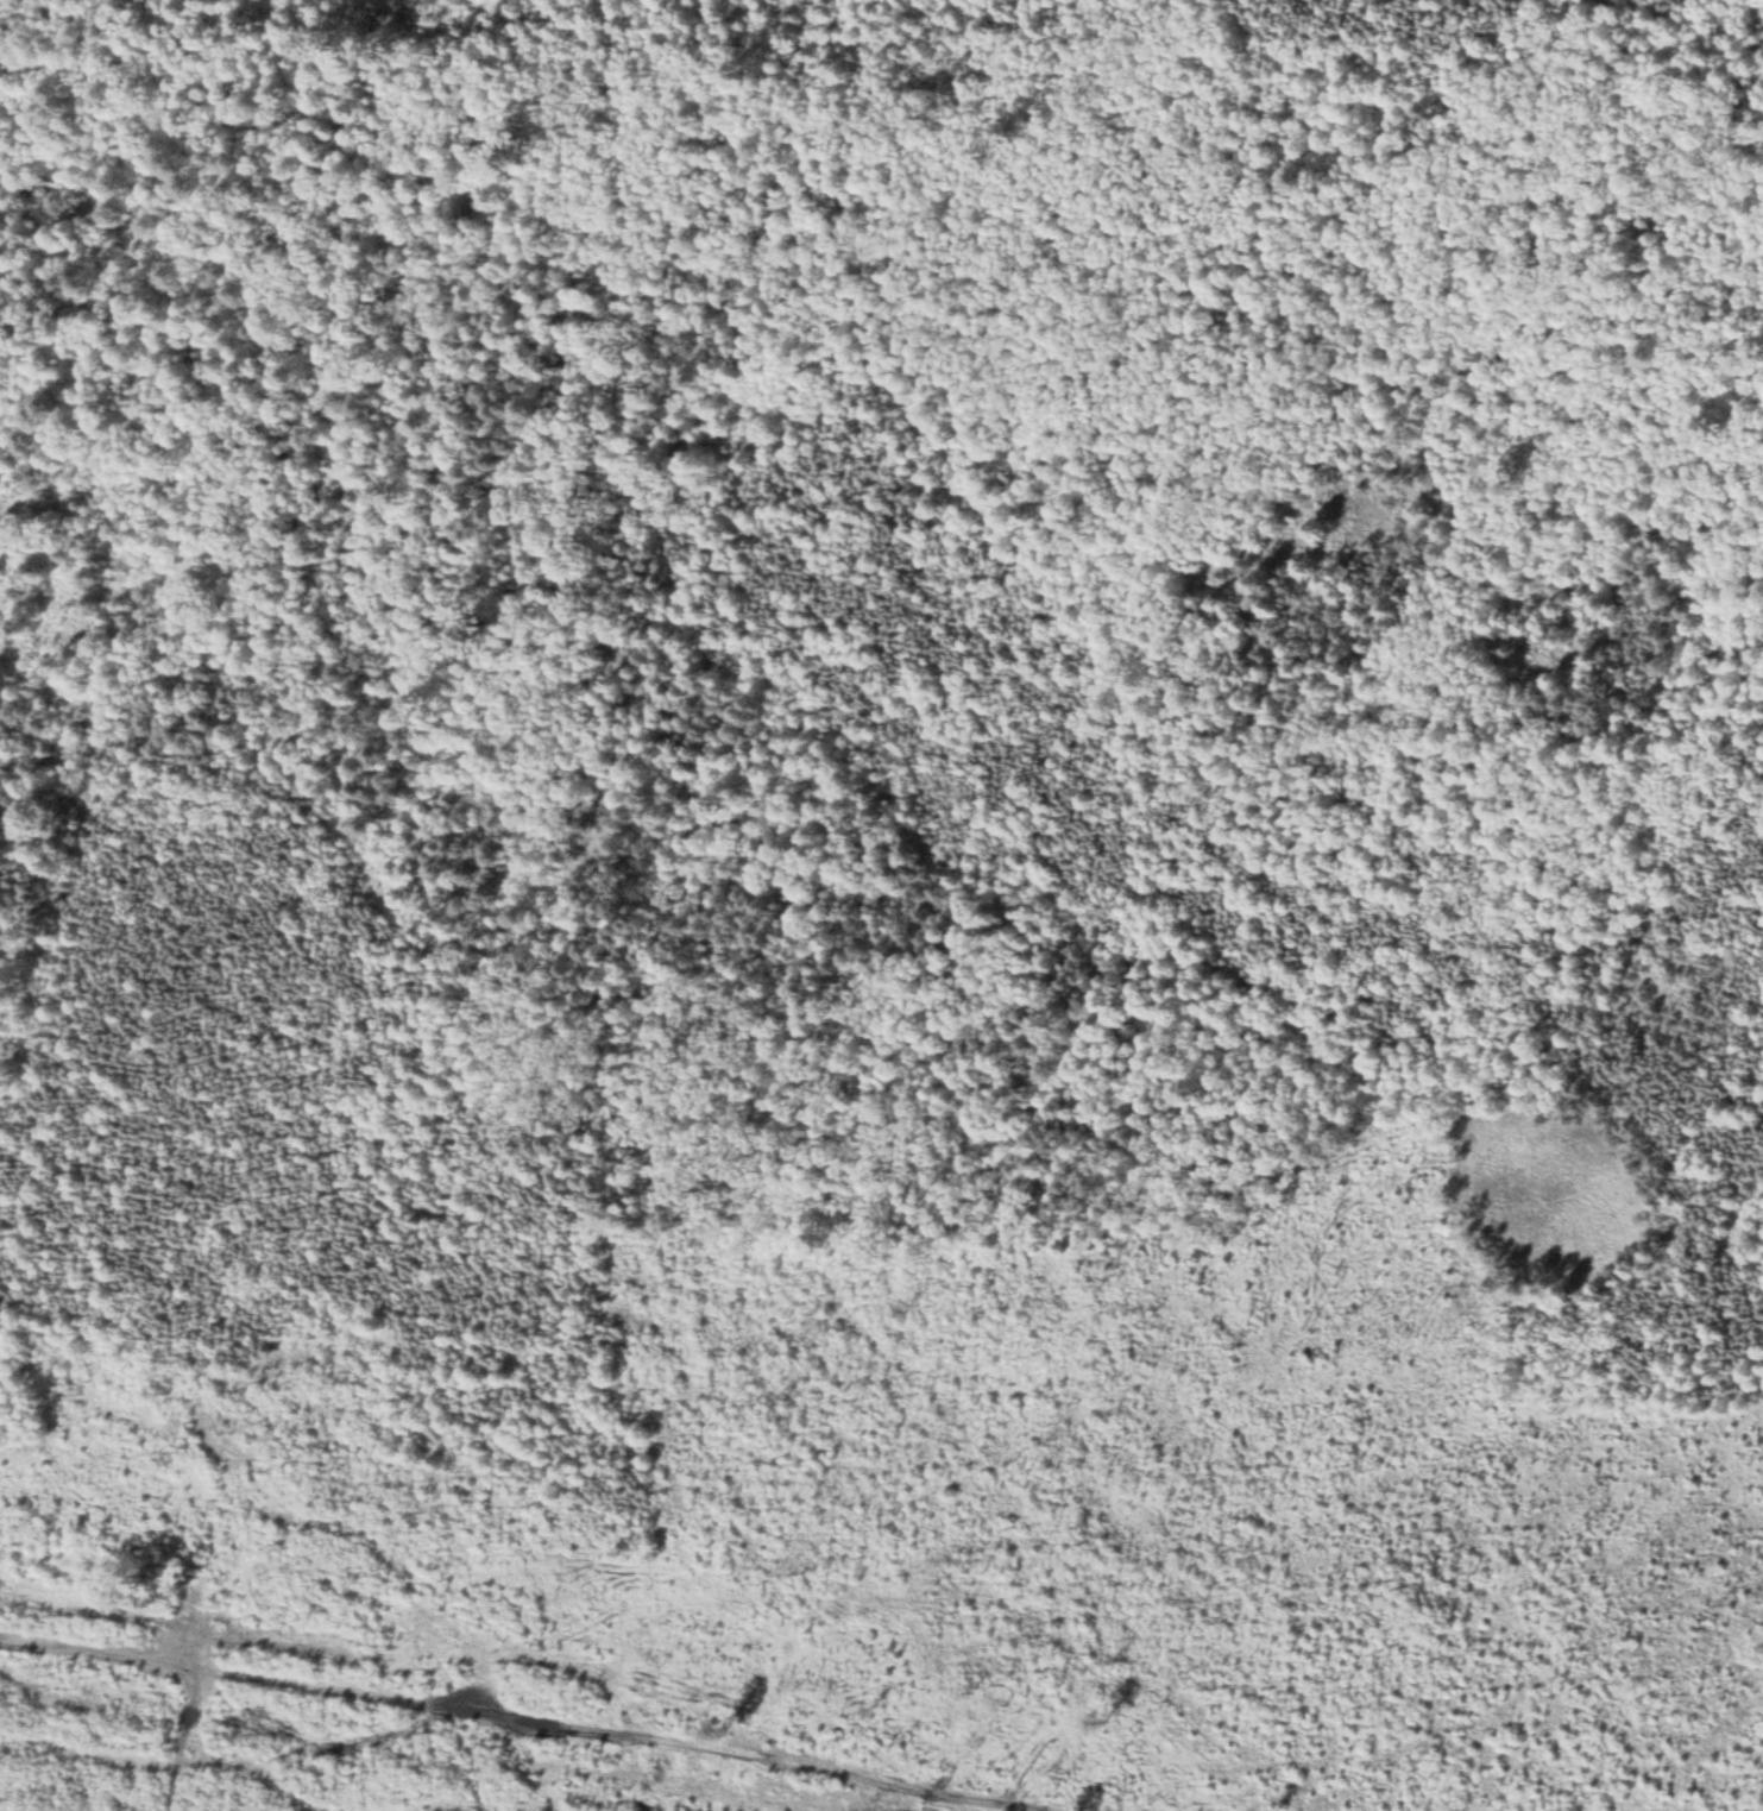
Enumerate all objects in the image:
road: (560, 1723)
road: (187, 1738)

